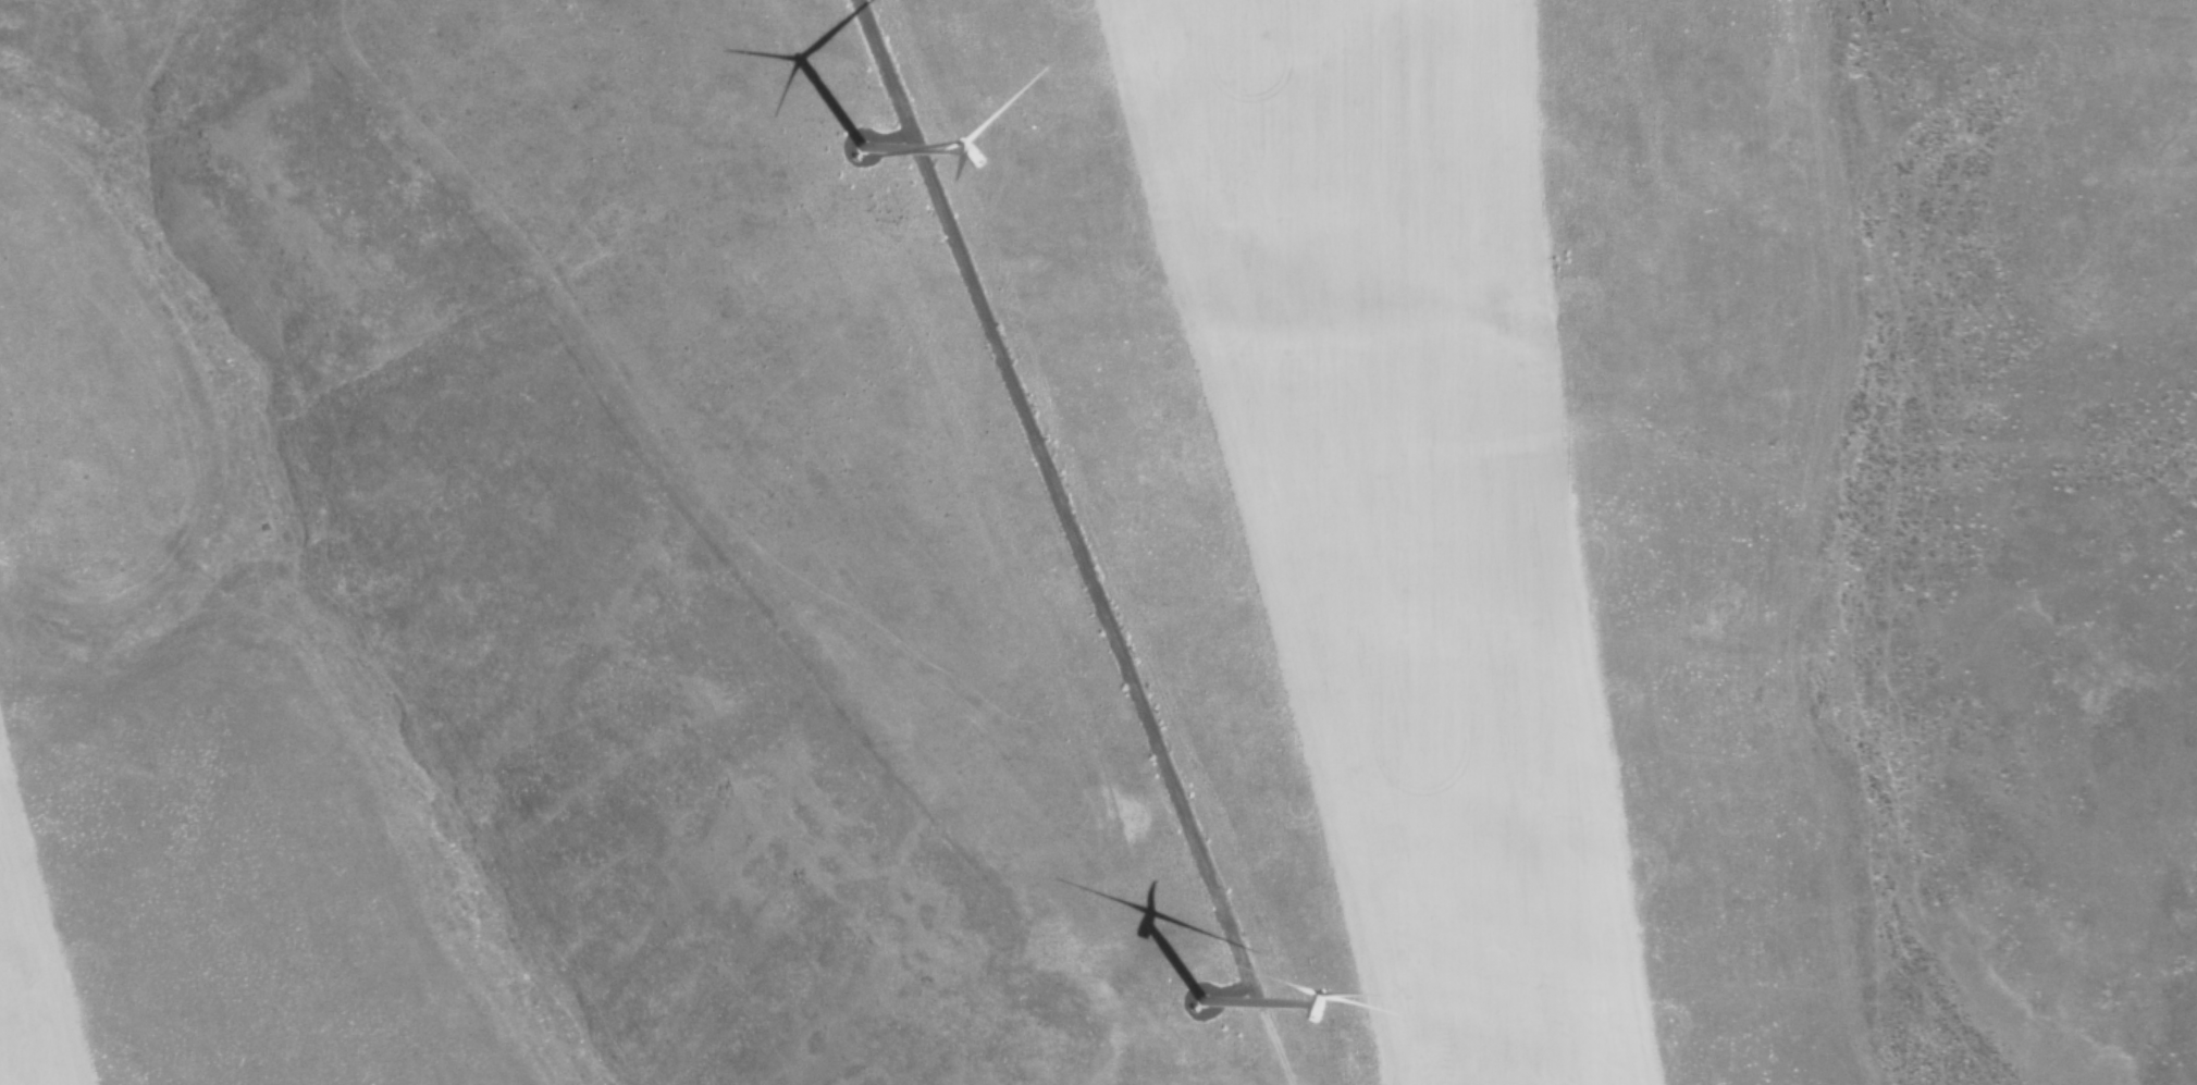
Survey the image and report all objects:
wind turbine: (861, 148)
road: (1052, 488)
wind turbine: (1200, 1002)

